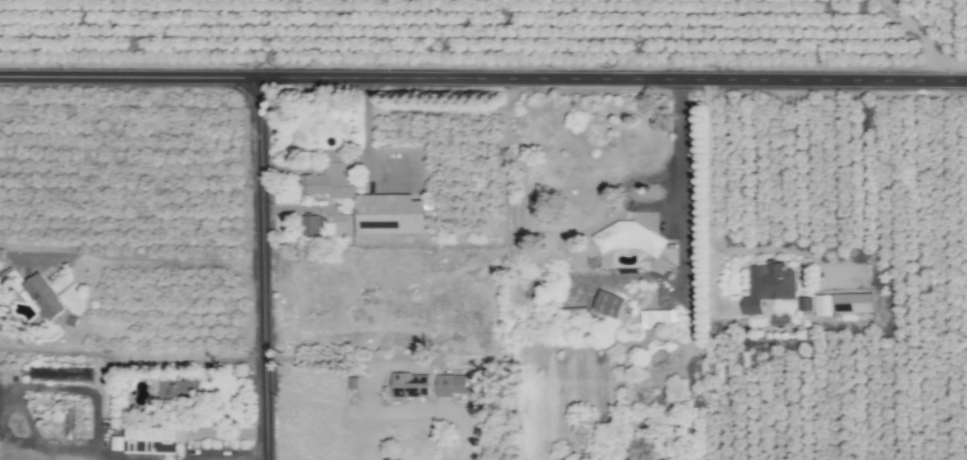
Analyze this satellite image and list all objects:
road: (483, 79)
road: (364, 133)
road: (681, 186)
building: (369, 203)
road: (708, 208)
building: (312, 227)
building: (338, 231)
building: (631, 238)
road: (762, 249)
road: (174, 263)
road: (265, 269)
building: (0, 280)
building: (768, 286)
building: (45, 298)
building: (852, 304)
building: (609, 305)
building: (573, 317)
building: (658, 320)
building: (660, 358)
building: (411, 386)
building: (446, 387)
building: (180, 394)
road: (6, 410)
road: (382, 415)
building: (152, 442)
road: (83, 444)
road: (227, 459)

